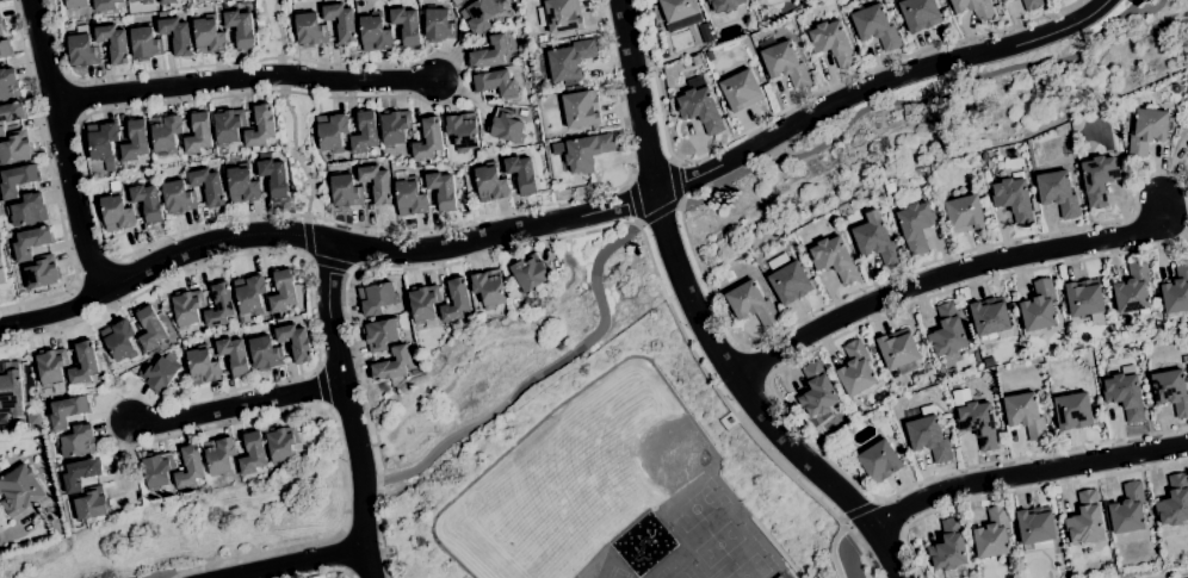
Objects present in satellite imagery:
building: (759, 0)
building: (1003, 0)
building: (143, 1)
building: (167, 1)
building: (75, 4)
building: (1032, 4)
building: (105, 5)
building: (725, 5)
building: (974, 8)
road: (1147, 8)
building: (680, 12)
building: (481, 14)
building: (920, 14)
building: (157, 15)
building: (559, 15)
building: (341, 21)
building: (406, 25)
building: (2, 26)
building: (439, 26)
building: (875, 27)
building: (240, 29)
building: (309, 30)
road: (280, 31)
building: (375, 32)
building: (705, 33)
building: (177, 36)
building: (209, 36)
building: (543, 39)
building: (113, 43)
building: (833, 43)
building: (146, 44)
building: (6, 49)
building: (82, 51)
building: (490, 54)
building: (710, 56)
building: (570, 61)
building: (695, 61)
building: (785, 64)
road: (281, 74)
building: (673, 75)
road: (243, 77)
building: (583, 81)
building: (8, 83)
building: (496, 83)
building: (738, 86)
building: (577, 88)
building: (1175, 88)
road: (797, 104)
building: (700, 107)
building: (581, 110)
road: (94, 112)
building: (12, 113)
building: (229, 125)
building: (506, 126)
building: (260, 128)
building: (394, 128)
building: (1, 131)
building: (332, 131)
building: (462, 131)
building: (1147, 131)
building: (166, 133)
building: (198, 133)
building: (364, 133)
building: (101, 139)
building: (428, 139)
building: (135, 141)
road: (64, 148)
building: (16, 150)
road: (296, 153)
building: (583, 153)
building: (1021, 153)
building: (1187, 156)
building: (984, 157)
building: (520, 173)
building: (274, 178)
building: (1099, 179)
road: (674, 180)
building: (16, 181)
road: (52, 181)
building: (377, 182)
building: (490, 182)
building: (242, 185)
building: (209, 186)
building: (440, 189)
building: (345, 192)
building: (1058, 193)
building: (409, 194)
building: (923, 195)
building: (179, 198)
building: (891, 199)
building: (1014, 199)
road: (633, 200)
building: (148, 201)
building: (1034, 205)
building: (26, 210)
building: (116, 210)
road: (658, 210)
building: (965, 215)
road: (564, 219)
road: (1118, 222)
building: (916, 226)
road: (308, 236)
building: (877, 240)
building: (30, 242)
road: (495, 253)
building: (834, 259)
road: (332, 262)
building: (1, 263)
road: (952, 269)
building: (42, 273)
road: (98, 273)
building: (532, 273)
building: (787, 279)
building: (488, 288)
building: (1133, 290)
building: (283, 291)
building: (1176, 291)
building: (249, 294)
building: (1084, 298)
building: (377, 299)
building: (456, 300)
building: (219, 304)
building: (425, 304)
building: (751, 304)
building: (1039, 306)
building: (187, 307)
building: (297, 311)
road: (706, 313)
building: (991, 318)
building: (150, 330)
building: (947, 331)
building: (215, 335)
building: (236, 335)
building: (380, 335)
building: (119, 340)
building: (295, 342)
building: (898, 352)
building: (265, 354)
building: (234, 355)
building: (1184, 360)
building: (83, 365)
building: (391, 365)
building: (203, 366)
building: (51, 367)
building: (1187, 368)
building: (855, 369)
road: (543, 371)
building: (159, 375)
building: (989, 378)
road: (323, 384)
building: (11, 389)
building: (817, 391)
building: (1171, 391)
building: (1125, 393)
road: (240, 402)
road: (154, 404)
road: (349, 408)
building: (67, 411)
building: (1073, 411)
building: (859, 412)
road: (735, 414)
building: (1026, 415)
building: (731, 421)
building: (942, 421)
building: (978, 423)
road: (369, 424)
building: (810, 424)
building: (928, 435)
building: (79, 441)
building: (281, 445)
park: (631, 447)
building: (253, 454)
building: (219, 456)
building: (880, 462)
building: (2, 465)
building: (190, 467)
building: (157, 472)
building: (81, 473)
road: (1028, 474)
building: (19, 491)
road: (1019, 491)
building: (1174, 502)
building: (92, 505)
road: (854, 508)
park: (693, 509)
building: (1128, 510)
building: (1085, 520)
building: (1035, 529)
building: (992, 535)
road: (0, 540)
park: (717, 543)
road: (773, 546)
road: (854, 547)
road: (831, 551)
building: (949, 551)
road: (344, 552)
road: (290, 561)
park: (749, 565)
road: (329, 572)
park: (522, 572)
park: (617, 573)
road: (1168, 573)
road: (167, 576)

